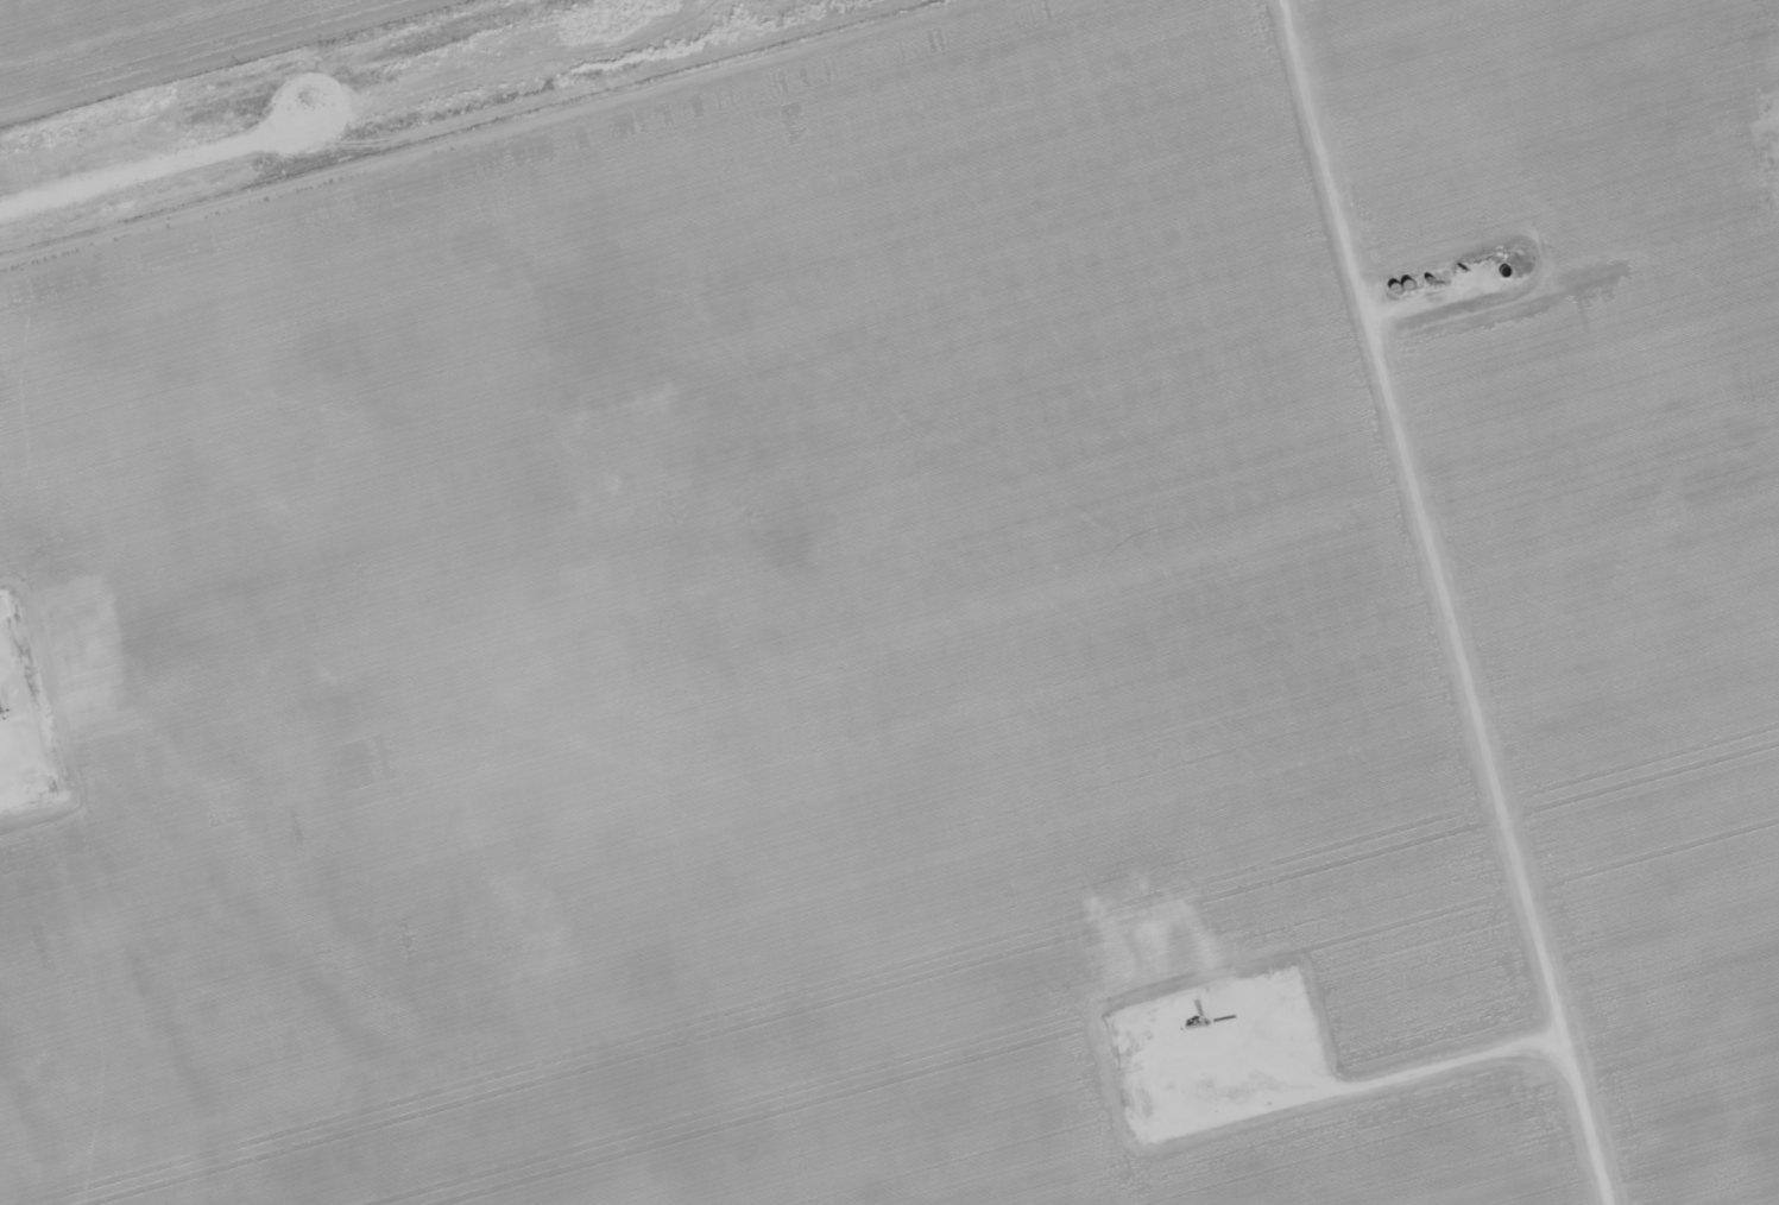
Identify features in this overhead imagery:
road: (1131, 1029)
road: (1523, 1045)

